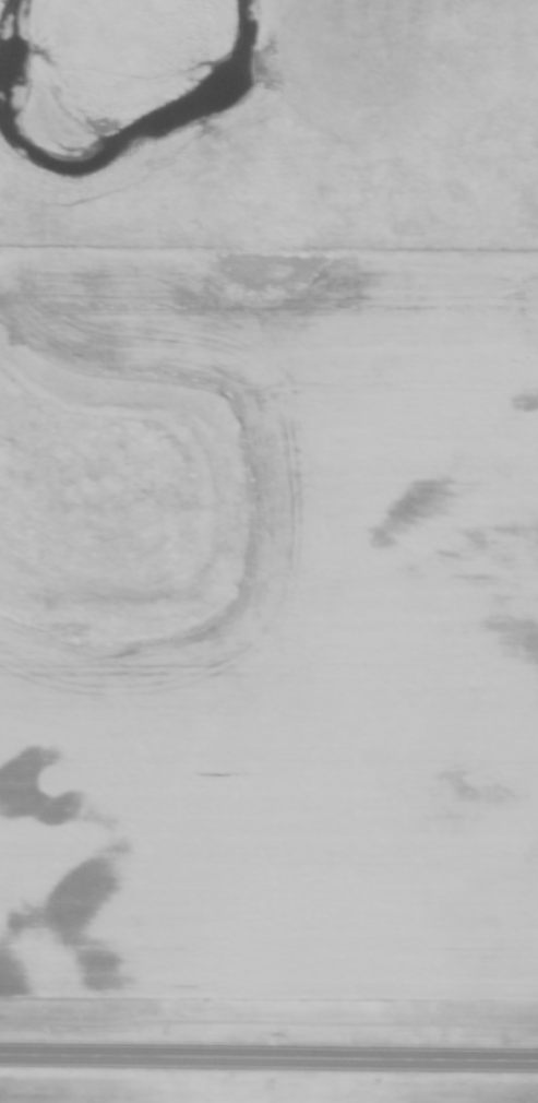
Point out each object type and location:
road: (268, 1059)

